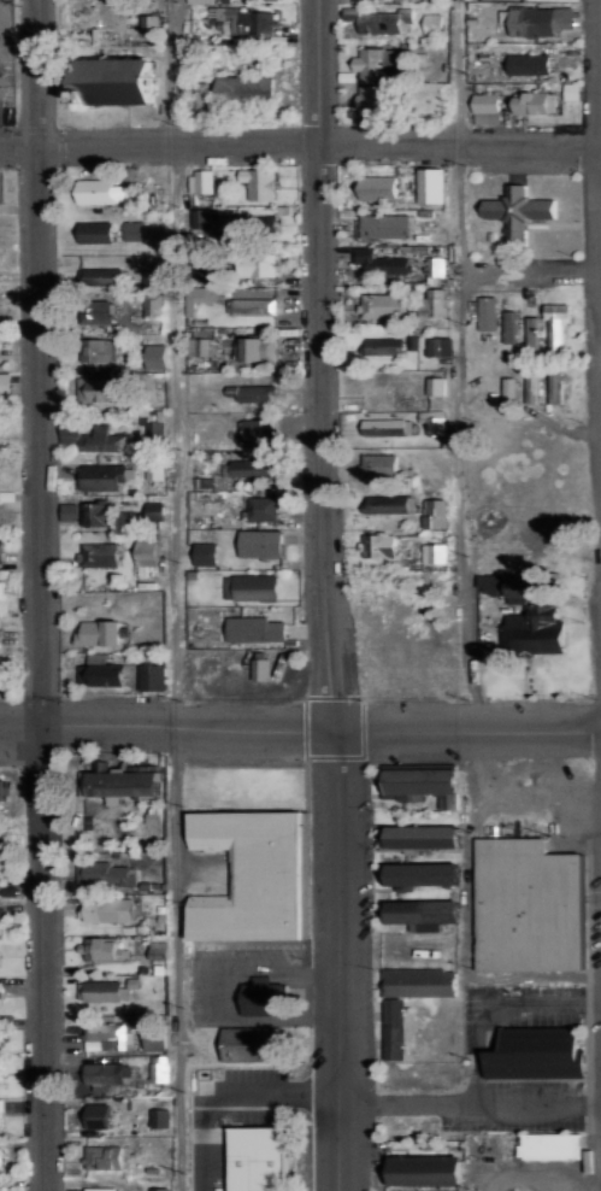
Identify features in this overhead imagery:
building: (199, 0)
building: (265, 0)
building: (379, 19)
building: (541, 19)
building: (251, 20)
building: (434, 23)
building: (378, 63)
building: (531, 63)
building: (124, 81)
building: (246, 86)
building: (572, 92)
building: (377, 100)
building: (488, 101)
building: (535, 101)
building: (487, 117)
road: (300, 136)
building: (201, 181)
building: (260, 182)
building: (432, 186)
building: (381, 187)
building: (102, 190)
building: (519, 211)
building: (201, 217)
building: (385, 225)
building: (247, 227)
building: (135, 230)
building: (98, 231)
building: (378, 262)
building: (259, 265)
building: (436, 266)
building: (102, 277)
building: (153, 280)
building: (435, 301)
building: (152, 305)
building: (251, 305)
building: (382, 305)
building: (487, 312)
building: (104, 313)
building: (555, 323)
building: (509, 325)
building: (532, 332)
building: (389, 345)
building: (440, 346)
building: (201, 347)
building: (260, 350)
building: (99, 351)
building: (157, 356)
building: (7, 383)
building: (436, 386)
building: (532, 387)
building: (555, 387)
building: (99, 388)
building: (255, 392)
building: (508, 393)
building: (435, 422)
building: (388, 427)
building: (259, 430)
building: (95, 439)
building: (381, 465)
building: (255, 468)
building: (155, 469)
building: (100, 476)
building: (389, 504)
building: (263, 508)
building: (70, 511)
building: (155, 511)
building: (434, 512)
building: (98, 514)
building: (261, 544)
building: (379, 545)
building: (1, 550)
road: (467, 550)
building: (148, 552)
building: (206, 552)
building: (434, 553)
building: (99, 555)
building: (491, 583)
building: (251, 585)
road: (42, 594)
road: (177, 595)
road: (326, 595)
building: (537, 615)
building: (258, 629)
road: (300, 726)
building: (129, 782)
building: (424, 784)
building: (425, 838)
building: (105, 874)
building: (422, 874)
building: (6, 886)
building: (108, 910)
building: (423, 914)
building: (0, 929)
building: (106, 947)
building: (420, 982)
building: (100, 991)
building: (0, 992)
building: (7, 1022)
building: (155, 1033)
building: (107, 1035)
building: (0, 1075)
building: (105, 1076)
building: (0, 1113)
building: (105, 1157)
building: (261, 1160)
building: (0, 1163)
building: (429, 1172)
building: (0, 1189)

